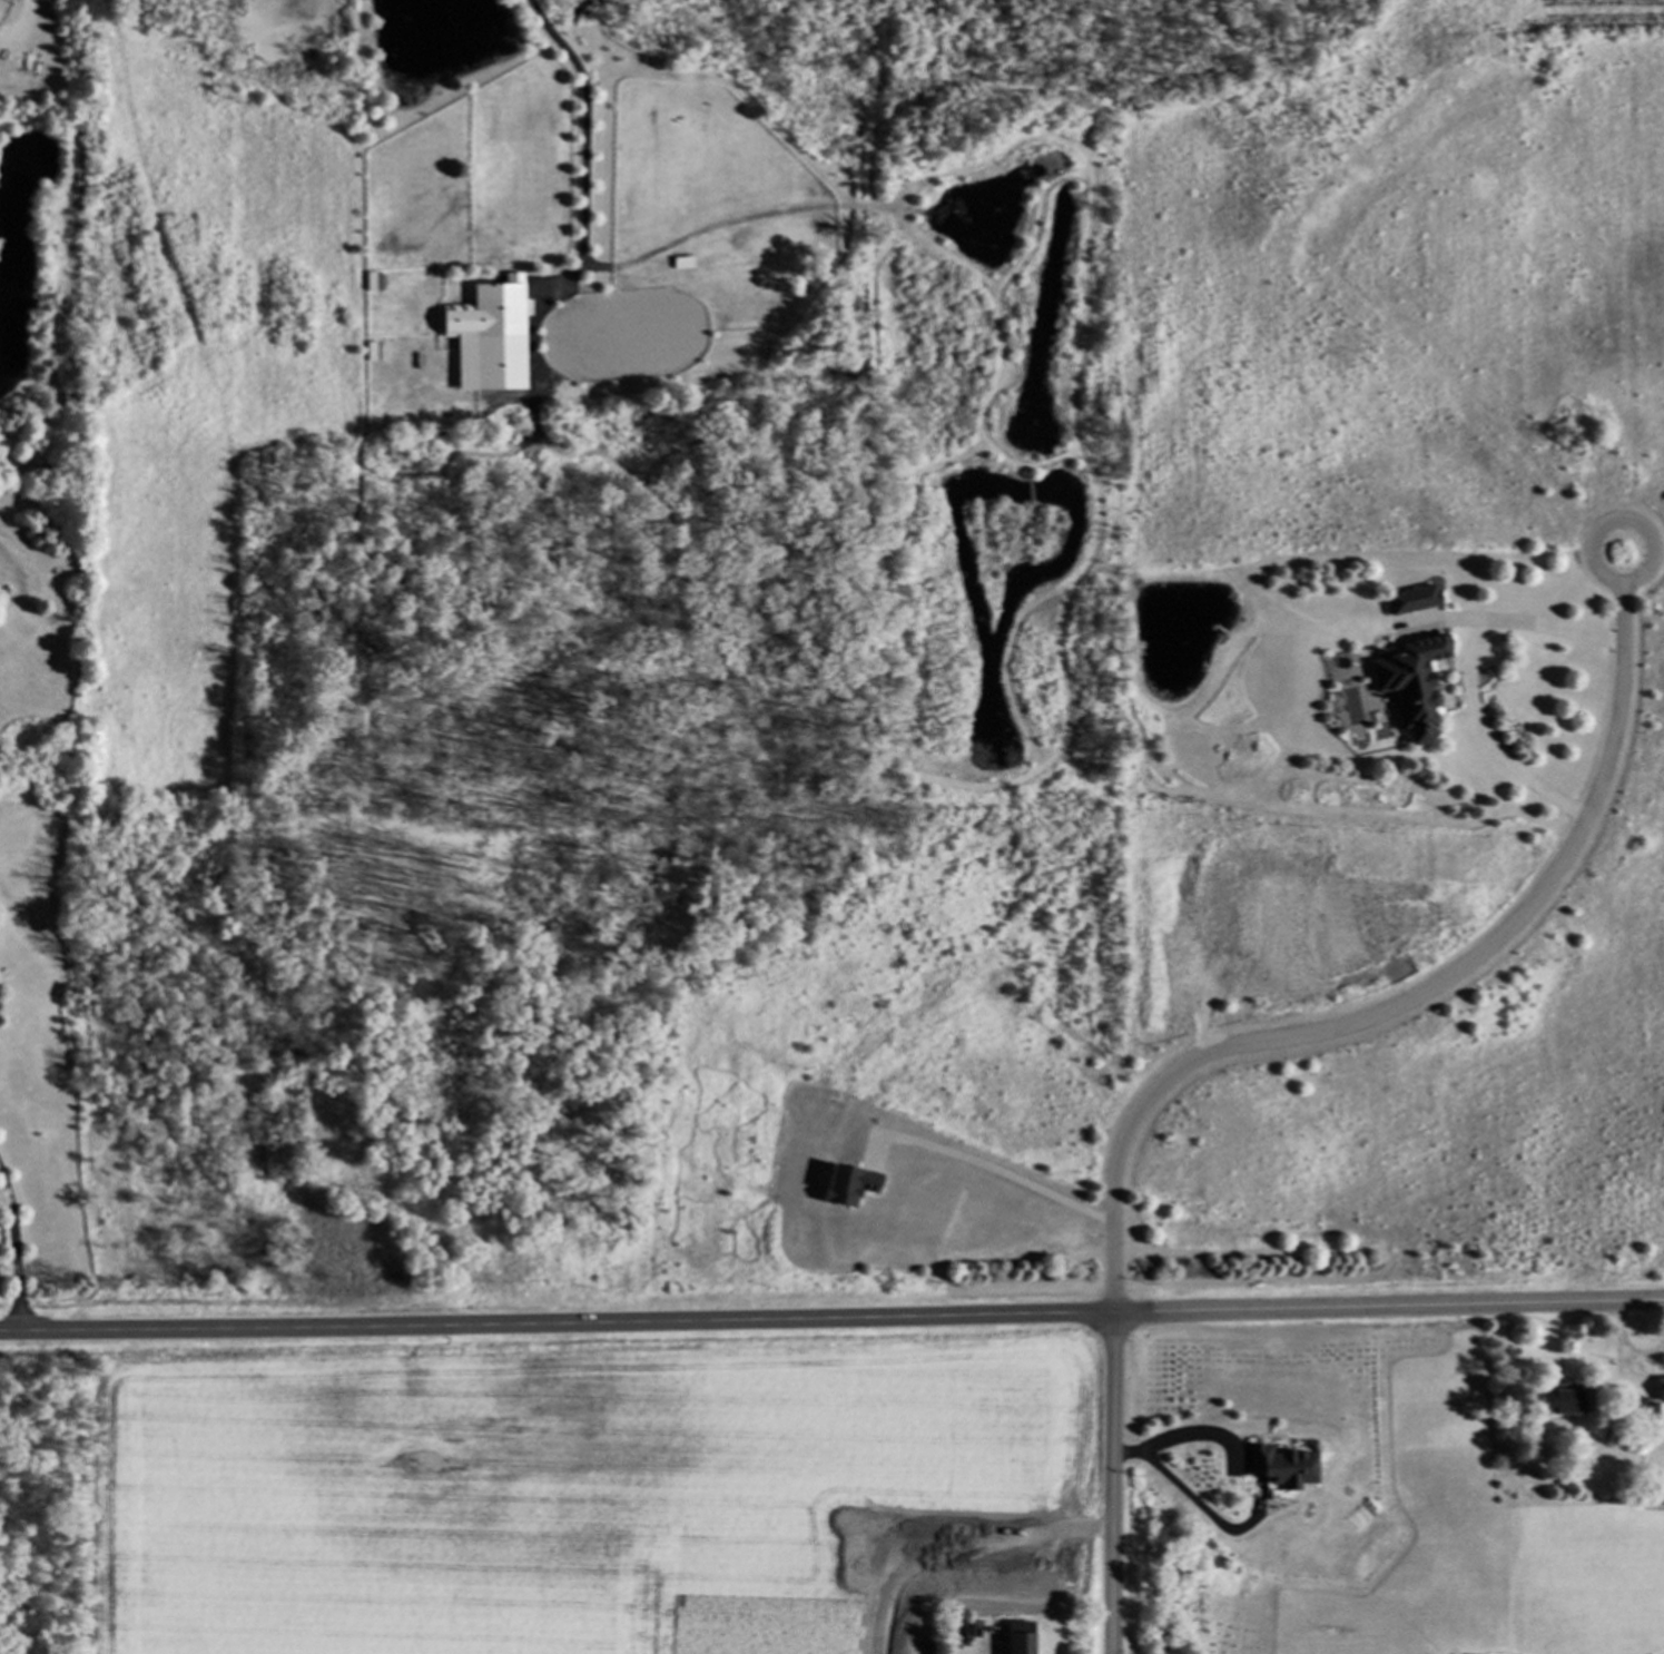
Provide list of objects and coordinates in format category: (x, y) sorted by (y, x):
road: (32, 4)
road: (585, 148)
building: (490, 338)
road: (1653, 551)
building: (1410, 600)
road: (1466, 677)
building: (1407, 685)
road: (1406, 1003)
road: (1012, 1174)
road: (14, 1252)
road: (831, 1317)
building: (1564, 1401)
building: (1646, 1410)
road: (1165, 1440)
building: (1280, 1466)
road: (1113, 1483)
road: (1189, 1496)
building: (1018, 1637)

